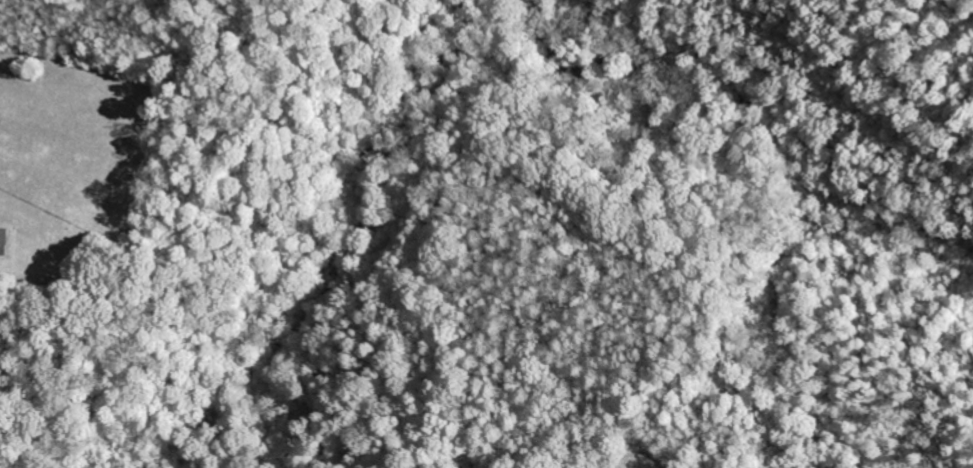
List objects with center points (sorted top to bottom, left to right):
building: (4, 242)

